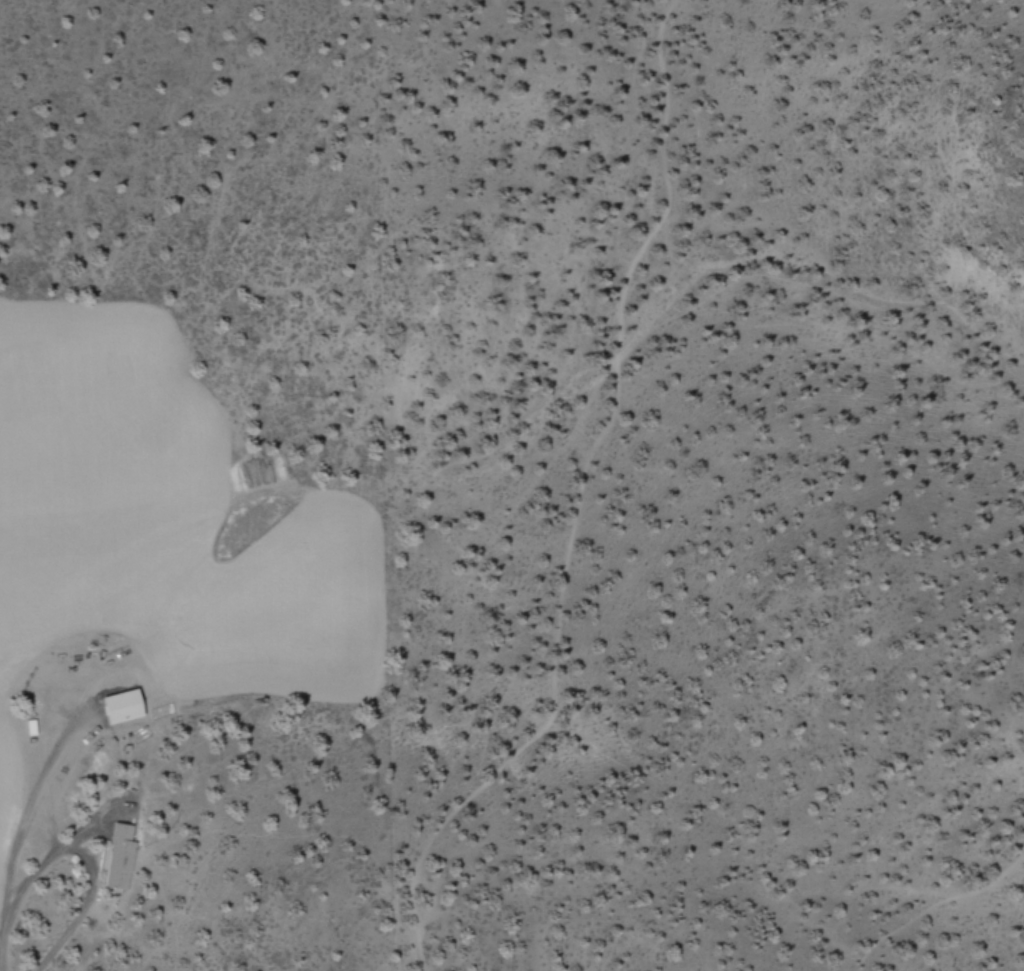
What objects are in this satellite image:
crop: (85, 569)
building: (116, 705)
building: (118, 856)
road: (5, 903)

